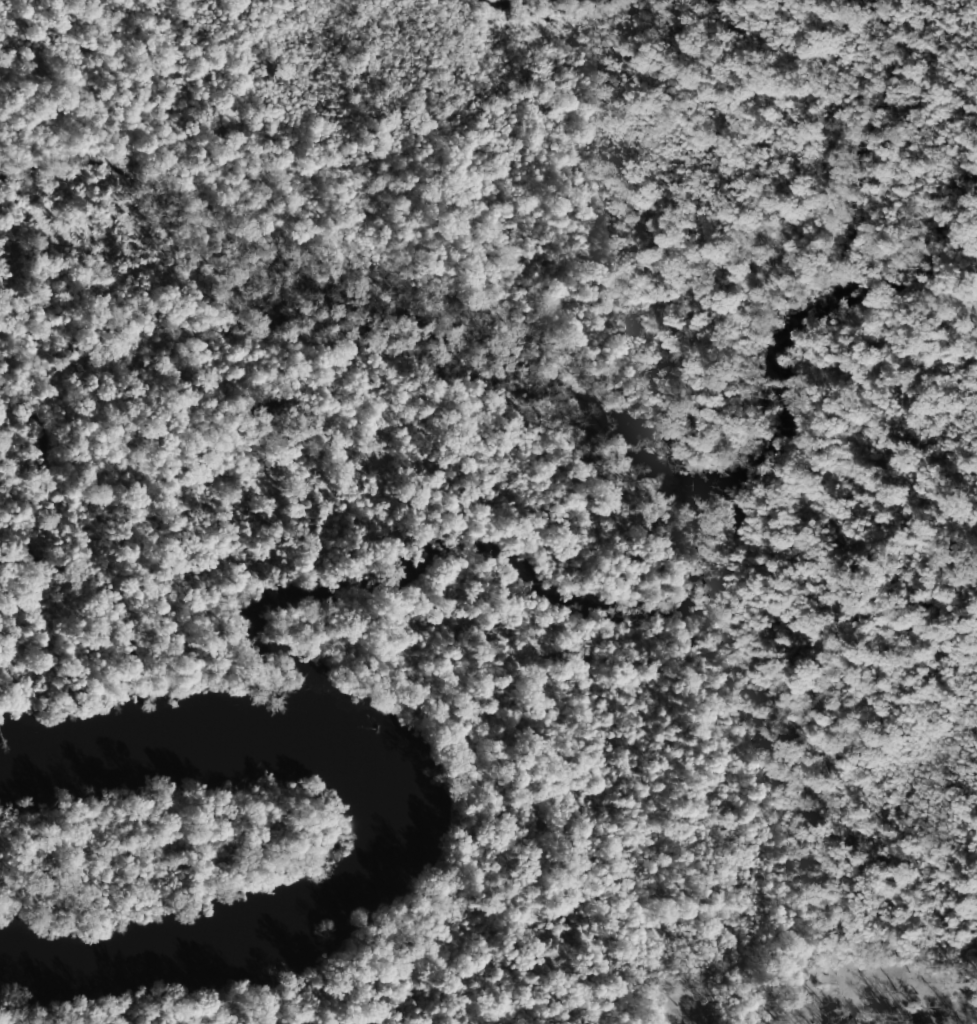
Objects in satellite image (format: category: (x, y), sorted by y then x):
river: (390, 813)

